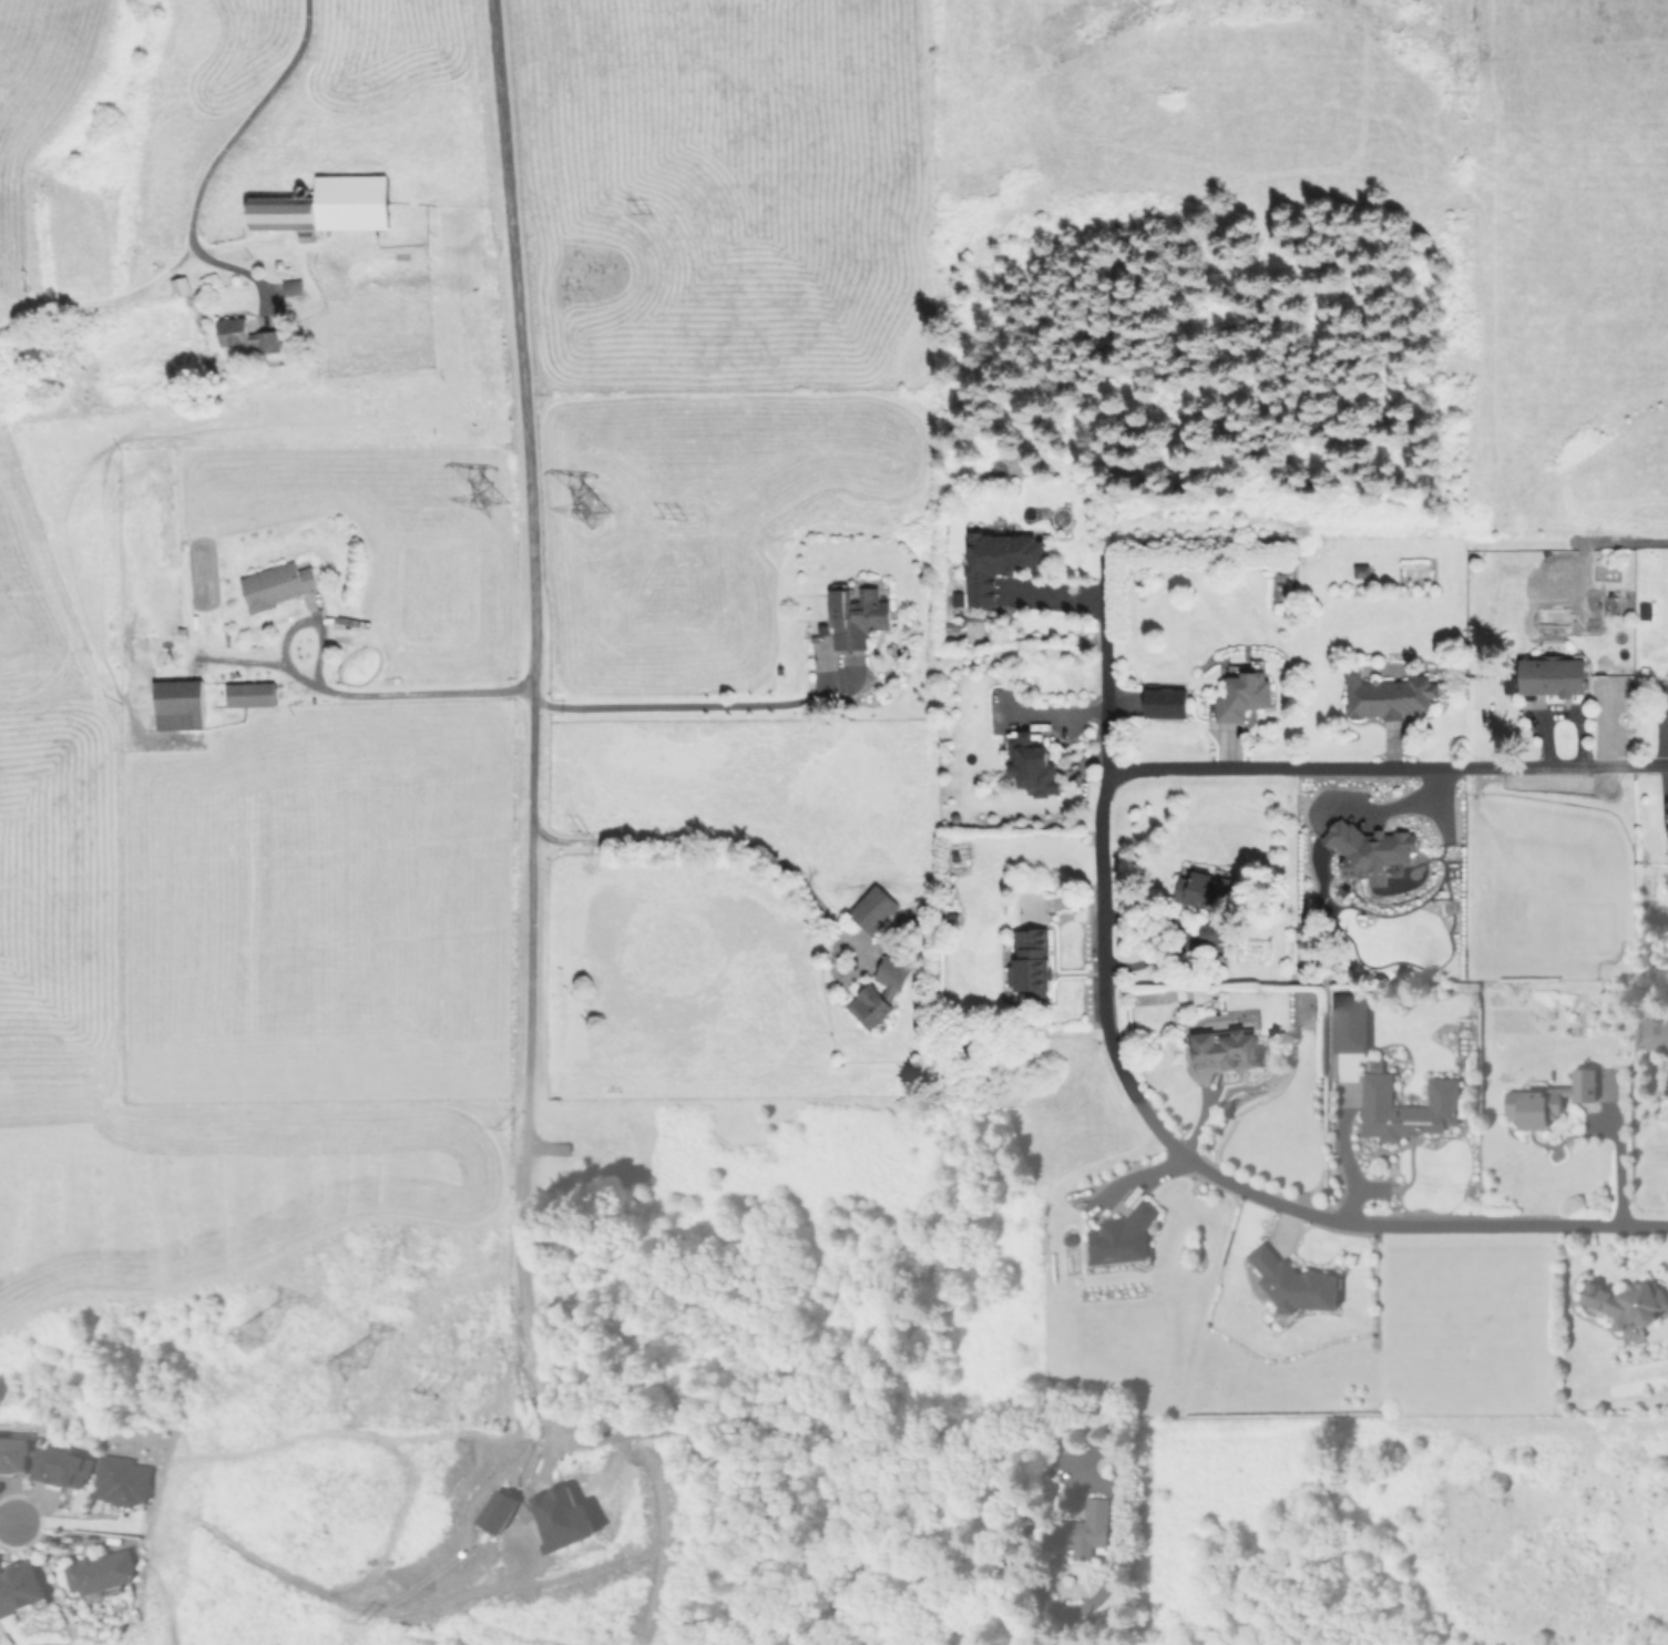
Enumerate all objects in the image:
road: (209, 162)
building: (290, 286)
building: (244, 336)
power tower: (474, 515)
building: (1060, 517)
power tower: (587, 519)
building: (993, 561)
building: (1359, 570)
building: (276, 584)
building: (954, 597)
building: (1643, 611)
building: (853, 615)
building: (949, 624)
building: (1549, 670)
building: (1508, 684)
building: (1240, 691)
road: (416, 692)
building: (249, 694)
building: (1384, 695)
road: (668, 701)
building: (1162, 702)
building: (177, 704)
building: (1031, 763)
road: (1386, 765)
road: (672, 839)
building: (1369, 847)
building: (1201, 896)
building: (870, 909)
road: (529, 949)
road: (1101, 953)
building: (1216, 960)
building: (1026, 962)
building: (864, 992)
building: (1176, 992)
building: (1351, 999)
building: (1220, 1043)
building: (1372, 1064)
building: (1544, 1099)
building: (1402, 1107)
road: (1343, 1152)
road: (1611, 1154)
road: (1506, 1225)
building: (1118, 1238)
building: (1288, 1284)
building: (1623, 1304)
power tower: (227, 1340)
power tower: (324, 1359)
building: (13, 1454)
building: (60, 1468)
building: (120, 1481)
road: (6, 1518)
road: (74, 1521)
building: (1078, 1530)
building: (99, 1572)
building: (18, 1586)

